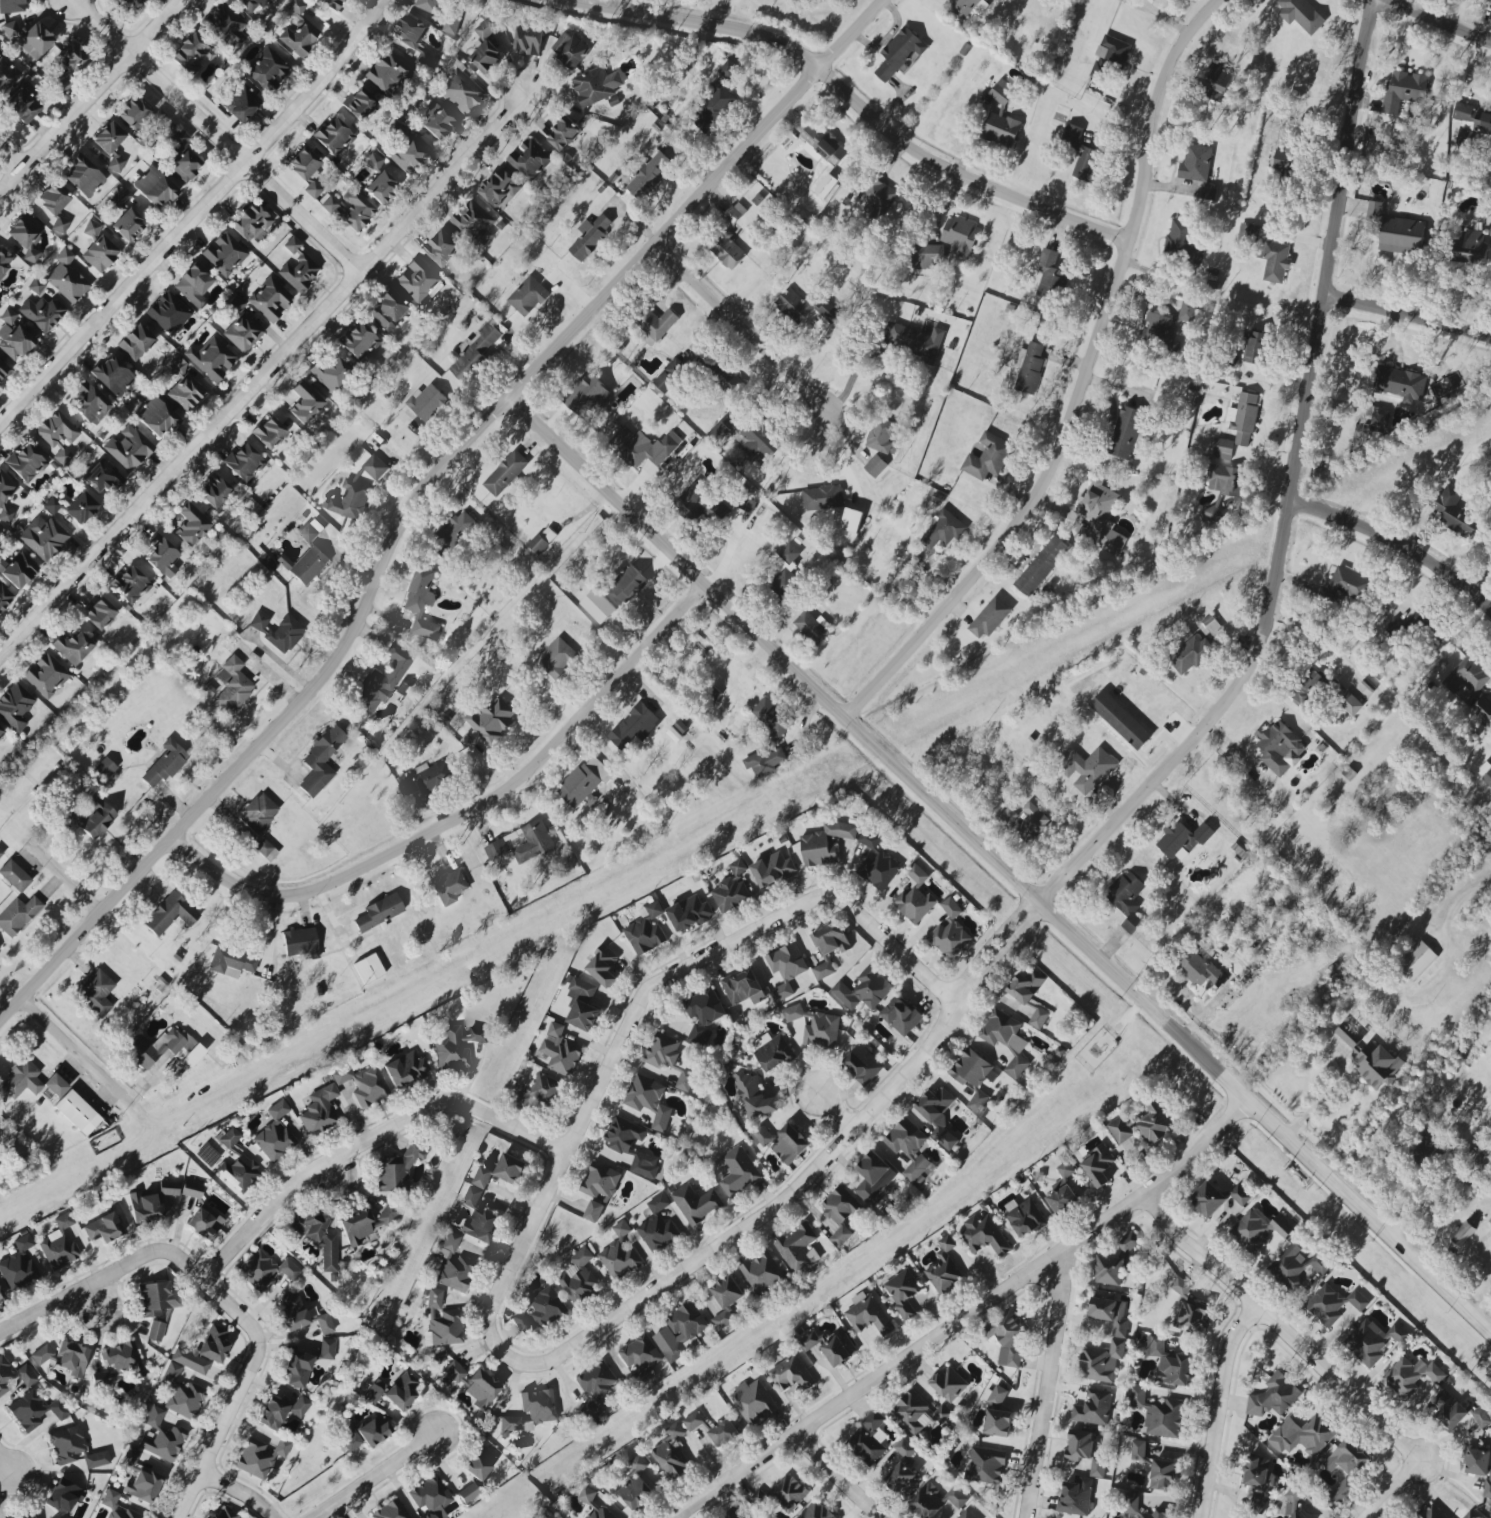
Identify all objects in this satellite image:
building: (131, 4)
building: (332, 4)
building: (251, 5)
building: (430, 5)
building: (11, 6)
building: (295, 6)
building: (967, 7)
building: (1300, 15)
road: (1438, 23)
building: (450, 25)
road: (688, 25)
building: (225, 26)
building: (486, 28)
road: (130, 29)
road: (850, 34)
building: (29, 38)
building: (299, 38)
building: (412, 39)
building: (529, 40)
building: (569, 50)
building: (191, 54)
building: (898, 54)
building: (486, 57)
building: (1109, 57)
building: (68, 66)
building: (268, 70)
building: (727, 70)
building: (388, 72)
building: (7, 75)
road: (88, 78)
building: (1215, 82)
building: (596, 85)
building: (1403, 90)
road: (91, 96)
building: (240, 102)
building: (360, 104)
building: (22, 105)
building: (713, 108)
building: (132, 113)
building: (1000, 117)
building: (436, 121)
building: (1471, 124)
building: (563, 134)
building: (1071, 134)
road: (219, 136)
building: (334, 136)
building: (108, 137)
building: (180, 137)
road: (239, 138)
building: (820, 145)
building: (407, 155)
road: (11, 157)
building: (529, 159)
building: (1283, 160)
building: (373, 162)
building: (115, 163)
building: (303, 163)
building: (1195, 163)
building: (1085, 164)
building: (185, 165)
road: (222, 168)
building: (83, 176)
road: (964, 176)
building: (647, 177)
building: (383, 184)
building: (825, 186)
building: (500, 187)
building: (154, 188)
building: (312, 189)
building: (1208, 192)
building: (120, 198)
building: (52, 199)
building: (877, 200)
building: (328, 203)
building: (355, 209)
building: (1373, 211)
road: (196, 215)
building: (251, 221)
building: (474, 223)
building: (60, 224)
building: (127, 224)
building: (91, 229)
building: (1490, 229)
building: (1248, 231)
road: (339, 232)
building: (26, 235)
road: (664, 235)
building: (1401, 235)
building: (959, 236)
building: (589, 237)
building: (1180, 241)
building: (441, 248)
building: (1470, 248)
building: (727, 251)
building: (99, 253)
building: (224, 254)
building: (925, 257)
building: (4, 260)
building: (1275, 261)
building: (297, 267)
building: (1049, 275)
building: (66, 278)
road: (334, 279)
building: (416, 280)
building: (193, 285)
building: (35, 286)
building: (527, 296)
building: (269, 299)
building: (0, 301)
building: (235, 305)
building: (804, 307)
building: (387, 309)
building: (1187, 311)
building: (42, 312)
building: (168, 313)
road: (1406, 313)
building: (8, 316)
building: (658, 324)
road: (742, 327)
building: (1158, 332)
building: (242, 333)
building: (915, 340)
building: (135, 341)
building: (359, 341)
building: (15, 343)
building: (1256, 348)
building: (475, 350)
building: (211, 359)
building: (178, 366)
building: (1029, 367)
building: (3, 369)
road: (1309, 370)
road: (282, 373)
building: (331, 373)
road: (262, 374)
building: (112, 375)
building: (669, 376)
road: (850, 378)
building: (726, 381)
building: (1400, 384)
road: (1085, 387)
building: (186, 392)
building: (585, 393)
building: (304, 402)
building: (426, 402)
building: (90, 403)
building: (156, 417)
building: (598, 418)
building: (1379, 421)
building: (1237, 426)
building: (268, 432)
building: (720, 433)
building: (1125, 433)
building: (57, 435)
building: (881, 436)
building: (758, 440)
building: (128, 447)
building: (643, 448)
building: (987, 457)
building: (25, 462)
building: (243, 462)
building: (875, 466)
building: (374, 467)
building: (505, 473)
building: (101, 476)
building: (1224, 480)
building: (214, 491)
building: (5, 497)
building: (349, 501)
building: (52, 505)
building: (747, 505)
building: (699, 506)
building: (81, 508)
building: (1453, 512)
building: (1101, 517)
building: (189, 524)
building: (0, 531)
building: (310, 531)
building: (454, 531)
building: (941, 531)
building: (43, 537)
building: (540, 541)
road: (1396, 546)
building: (161, 556)
building: (308, 565)
building: (1040, 566)
building: (18, 570)
building: (784, 572)
building: (628, 584)
building: (129, 585)
building: (1346, 585)
building: (5, 597)
building: (421, 603)
building: (598, 606)
building: (99, 613)
building: (989, 618)
building: (810, 627)
building: (1392, 627)
building: (277, 631)
road: (1313, 644)
building: (73, 646)
building: (1189, 655)
building: (556, 658)
building: (45, 675)
building: (1468, 675)
building: (381, 681)
building: (232, 685)
building: (1306, 688)
building: (1348, 702)
building: (15, 706)
building: (1482, 710)
building: (770, 718)
building: (1120, 720)
building: (490, 721)
road: (276, 727)
building: (632, 728)
building: (1, 731)
building: (1277, 746)
road: (876, 749)
building: (320, 761)
building: (764, 761)
building: (164, 764)
building: (104, 769)
building: (1086, 769)
building: (1487, 778)
building: (425, 779)
building: (583, 783)
building: (258, 813)
road: (466, 813)
road: (1123, 813)
building: (1006, 815)
building: (97, 818)
building: (1029, 823)
building: (868, 839)
building: (1182, 840)
building: (532, 842)
building: (824, 843)
building: (496, 849)
building: (265, 850)
building: (0, 853)
road: (51, 864)
building: (772, 869)
building: (879, 870)
building: (14, 876)
building: (449, 886)
building: (731, 889)
building: (914, 897)
building: (1126, 900)
building: (16, 913)
building: (171, 913)
building: (378, 913)
building: (689, 914)
building: (646, 930)
building: (950, 932)
road: (998, 936)
building: (830, 939)
building: (300, 944)
road: (1007, 945)
building: (1416, 961)
building: (231, 962)
building: (602, 967)
building: (368, 968)
building: (785, 969)
building: (823, 970)
building: (1199, 970)
building: (1025, 986)
building: (741, 987)
building: (863, 990)
building: (96, 993)
road: (641, 999)
building: (581, 1005)
building: (792, 1013)
building: (703, 1016)
building: (900, 1016)
building: (1038, 1018)
building: (821, 1031)
building: (1348, 1032)
building: (478, 1035)
building: (1344, 1037)
building: (1005, 1040)
building: (165, 1048)
building: (451, 1051)
building: (559, 1051)
building: (662, 1051)
building: (773, 1052)
road: (87, 1061)
building: (862, 1065)
building: (1376, 1066)
building: (404, 1069)
building: (974, 1078)
building: (685, 1080)
building: (29, 1081)
building: (362, 1084)
building: (539, 1090)
building: (753, 1095)
building: (648, 1100)
road: (1319, 1100)
building: (319, 1110)
road: (836, 1111)
building: (77, 1113)
building: (937, 1115)
building: (1141, 1125)
building: (274, 1134)
building: (622, 1135)
building: (229, 1138)
building: (905, 1138)
road: (371, 1141)
building: (781, 1142)
road: (1198, 1147)
building: (1425, 1150)
building: (645, 1166)
building: (1097, 1166)
building: (397, 1169)
building: (510, 1169)
building: (917, 1169)
building: (737, 1171)
building: (239, 1173)
building: (481, 1178)
building: (871, 1179)
building: (1066, 1189)
building: (191, 1190)
building: (598, 1190)
building: (1239, 1195)
building: (472, 1196)
building: (1207, 1199)
building: (696, 1203)
building: (143, 1207)
building: (840, 1213)
road: (1368, 1215)
building: (1025, 1218)
building: (1489, 1220)
building: (364, 1223)
road: (768, 1223)
building: (203, 1224)
building: (310, 1226)
building: (480, 1226)
building: (657, 1227)
building: (103, 1228)
building: (1461, 1233)
building: (983, 1234)
building: (1128, 1242)
building: (59, 1244)
building: (798, 1249)
building: (329, 1253)
building: (619, 1254)
building: (19, 1265)
building: (453, 1265)
building: (1298, 1268)
building: (943, 1269)
building: (265, 1270)
building: (1108, 1270)
building: (761, 1272)
building: (578, 1278)
building: (1180, 1286)
building: (902, 1292)
road: (73, 1295)
building: (0, 1296)
building: (726, 1300)
building: (1332, 1304)
road: (102, 1305)
building: (157, 1306)
building: (293, 1313)
building: (538, 1313)
building: (866, 1314)
building: (1192, 1316)
building: (324, 1324)
road: (1282, 1328)
building: (444, 1329)
building: (679, 1331)
building: (1117, 1333)
building: (1006, 1339)
building: (809, 1340)
building: (1372, 1341)
building: (691, 1344)
building: (327, 1349)
building: (838, 1349)
building: (203, 1351)
building: (42, 1354)
road: (916, 1355)
building: (640, 1357)
building: (72, 1358)
building: (123, 1358)
road: (259, 1360)
building: (1166, 1362)
building: (298, 1368)
building: (454, 1371)
building: (790, 1374)
building: (13, 1375)
building: (1410, 1376)
building: (100, 1378)
building: (947, 1384)
building: (596, 1385)
road: (1054, 1388)
building: (480, 1389)
building: (374, 1391)
building: (401, 1391)
building: (181, 1393)
building: (996, 1396)
building: (1274, 1397)
building: (752, 1402)
building: (538, 1405)
building: (299, 1406)
road: (1216, 1406)
building: (1093, 1408)
building: (34, 1410)
building: (1449, 1410)
building: (272, 1413)
building: (914, 1413)
building: (1159, 1414)
building: (154, 1417)
building: (1481, 1417)
building: (693, 1421)
building: (514, 1423)
building: (997, 1423)
building: (724, 1433)
building: (365, 1434)
building: (1303, 1435)
building: (867, 1439)
building: (163, 1443)
building: (67, 1444)
building: (1079, 1445)
building: (1137, 1451)
building: (671, 1454)
building: (131, 1457)
building: (259, 1457)
building: (96, 1459)
building: (479, 1463)
building: (984, 1465)
building: (1097, 1467)
building: (1479, 1467)
building: (1343, 1468)
building: (903, 1469)
road: (5, 1470)
building: (1256, 1471)
building: (1162, 1475)
road: (374, 1476)
road: (836, 1479)
building: (636, 1485)
building: (143, 1486)
road: (241, 1492)
road: (1393, 1492)
building: (467, 1493)
building: (782, 1494)
building: (586, 1495)
building: (62, 1497)
building: (431, 1497)
building: (1074, 1498)
building: (1293, 1498)
building: (1259, 1499)
building: (935, 1500)
building: (1138, 1508)
building: (390, 1510)
building: (815, 1511)
building: (1431, 1512)
building: (599, 1513)
building: (225, 1514)
building: (966, 1515)
building: (1296, 1515)
building: (1469, 1515)
building: (741, 1516)
building: (28, 1517)

